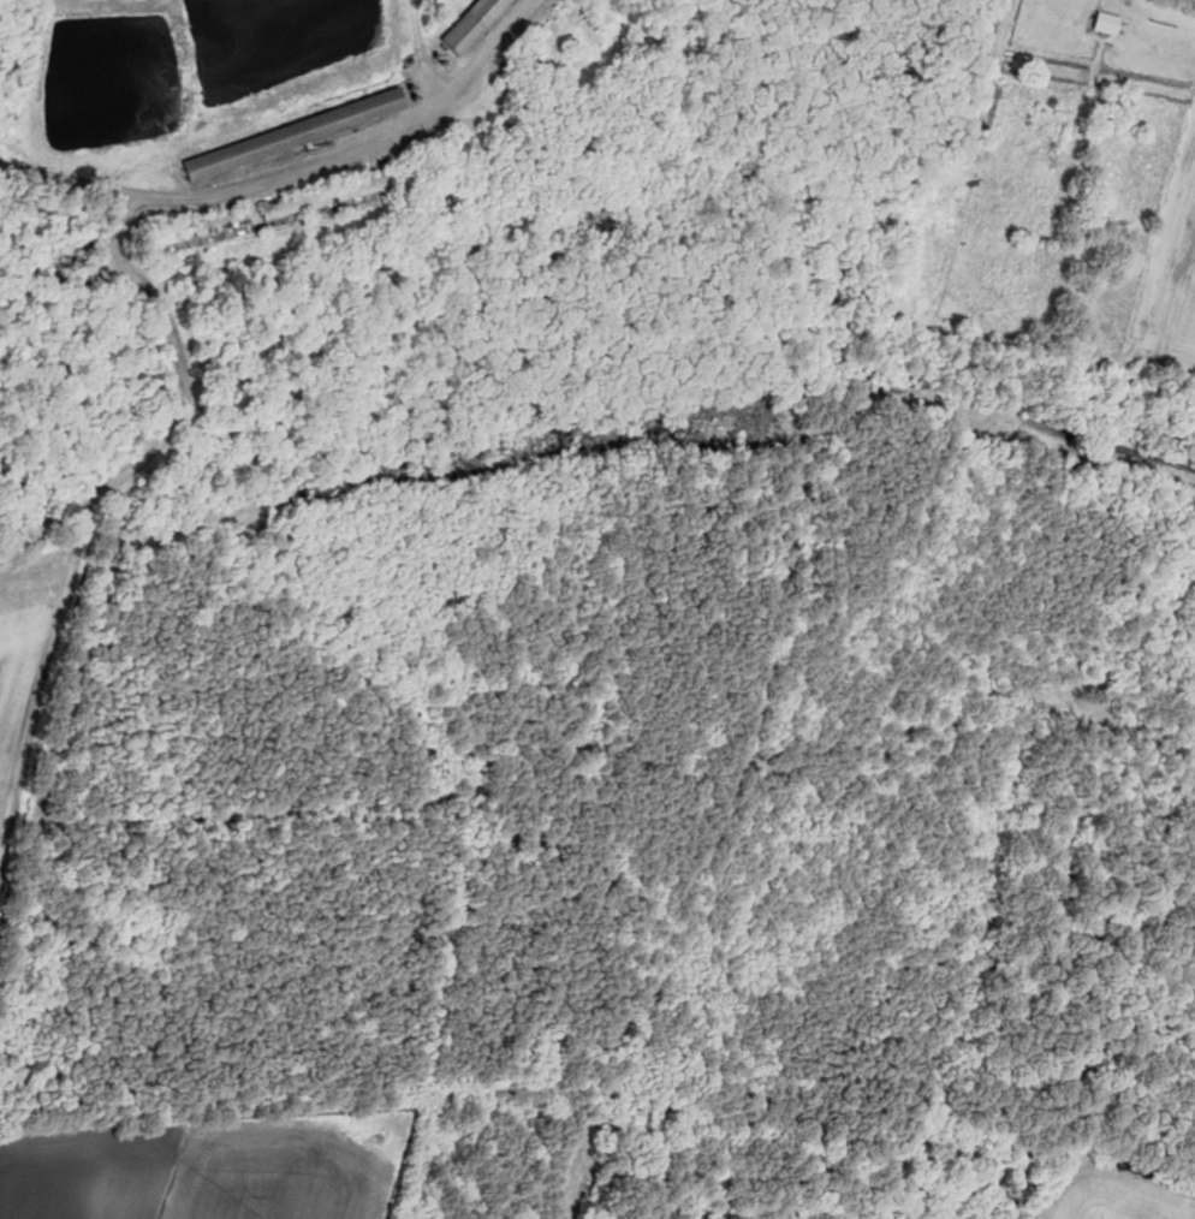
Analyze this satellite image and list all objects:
building: (1101, 23)
building: (465, 24)
building: (286, 135)
building: (268, 209)
road: (299, 210)

